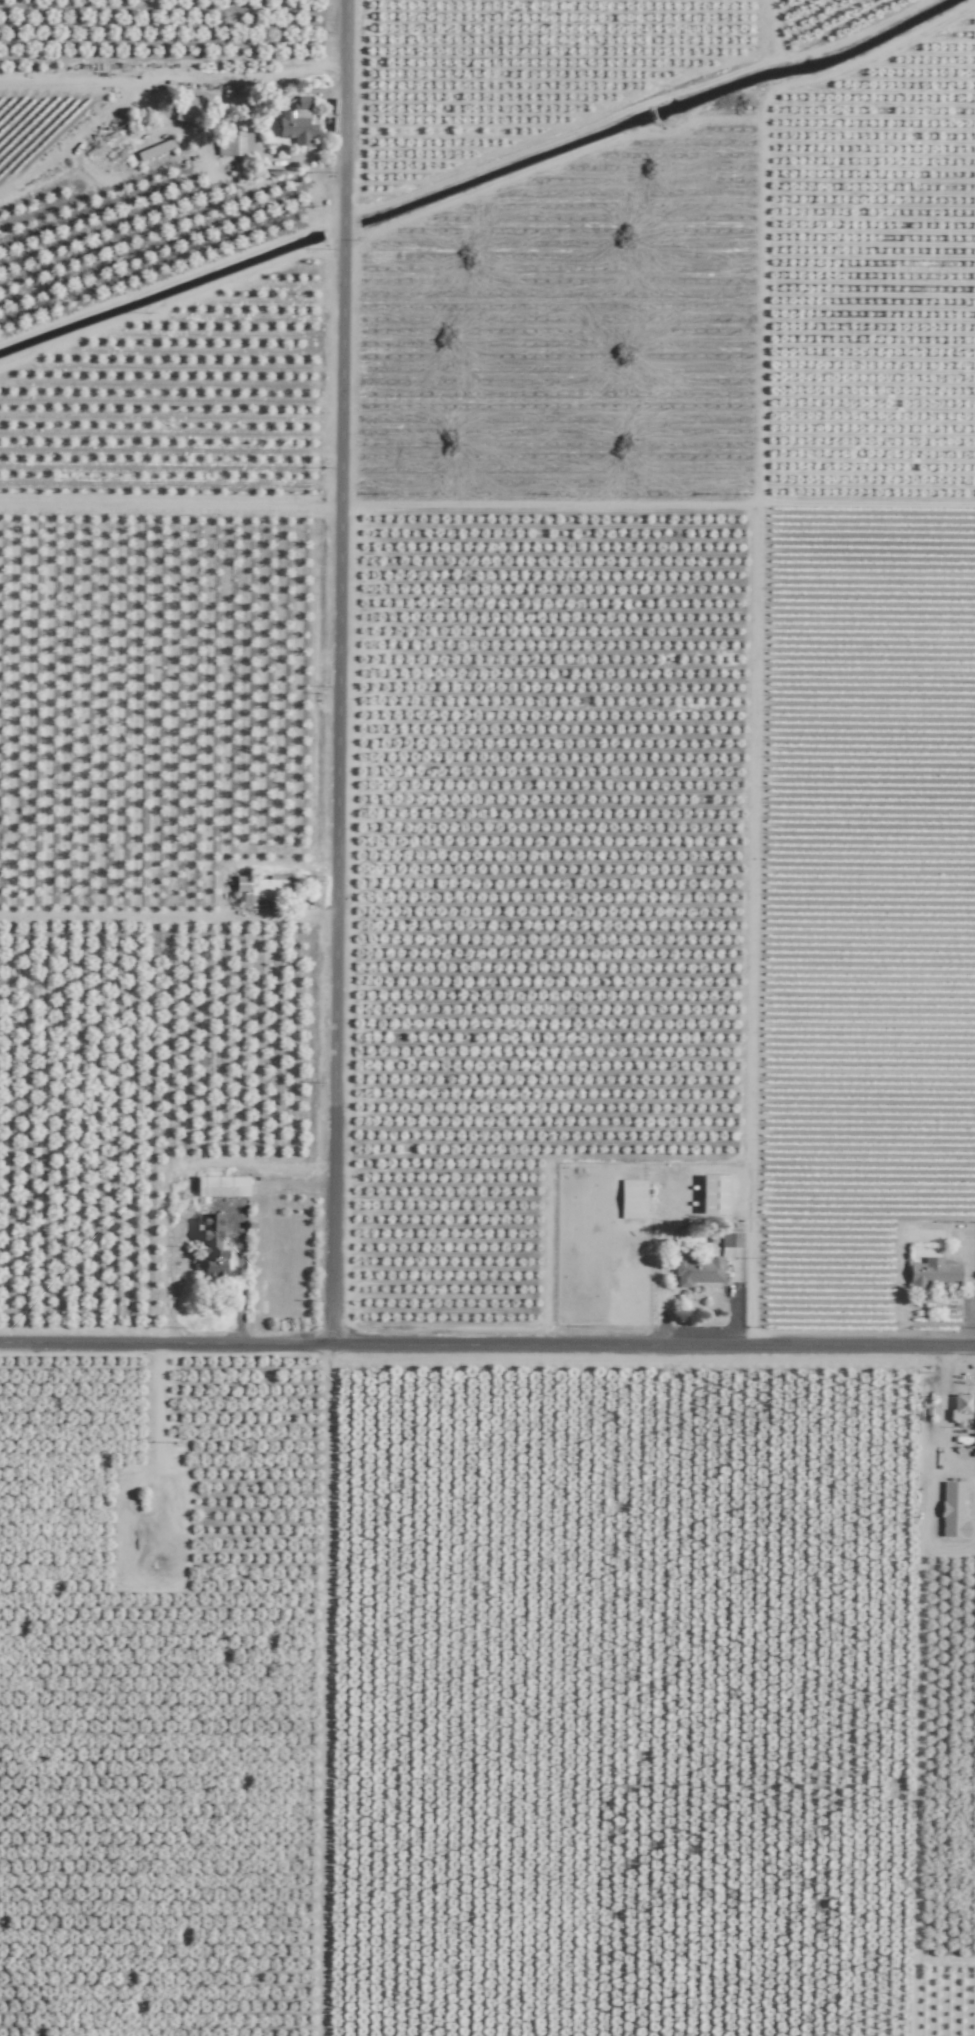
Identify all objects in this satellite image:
road: (196, 74)
building: (189, 109)
building: (297, 122)
building: (233, 144)
road: (657, 511)
road: (339, 673)
building: (262, 887)
road: (288, 919)
road: (756, 927)
crop: (487, 1018)
building: (220, 1185)
building: (714, 1193)
building: (632, 1198)
building: (209, 1247)
building: (697, 1270)
building: (934, 1272)
road: (239, 1294)
road: (487, 1348)
building: (960, 1407)
road: (933, 1470)
road: (324, 1692)

